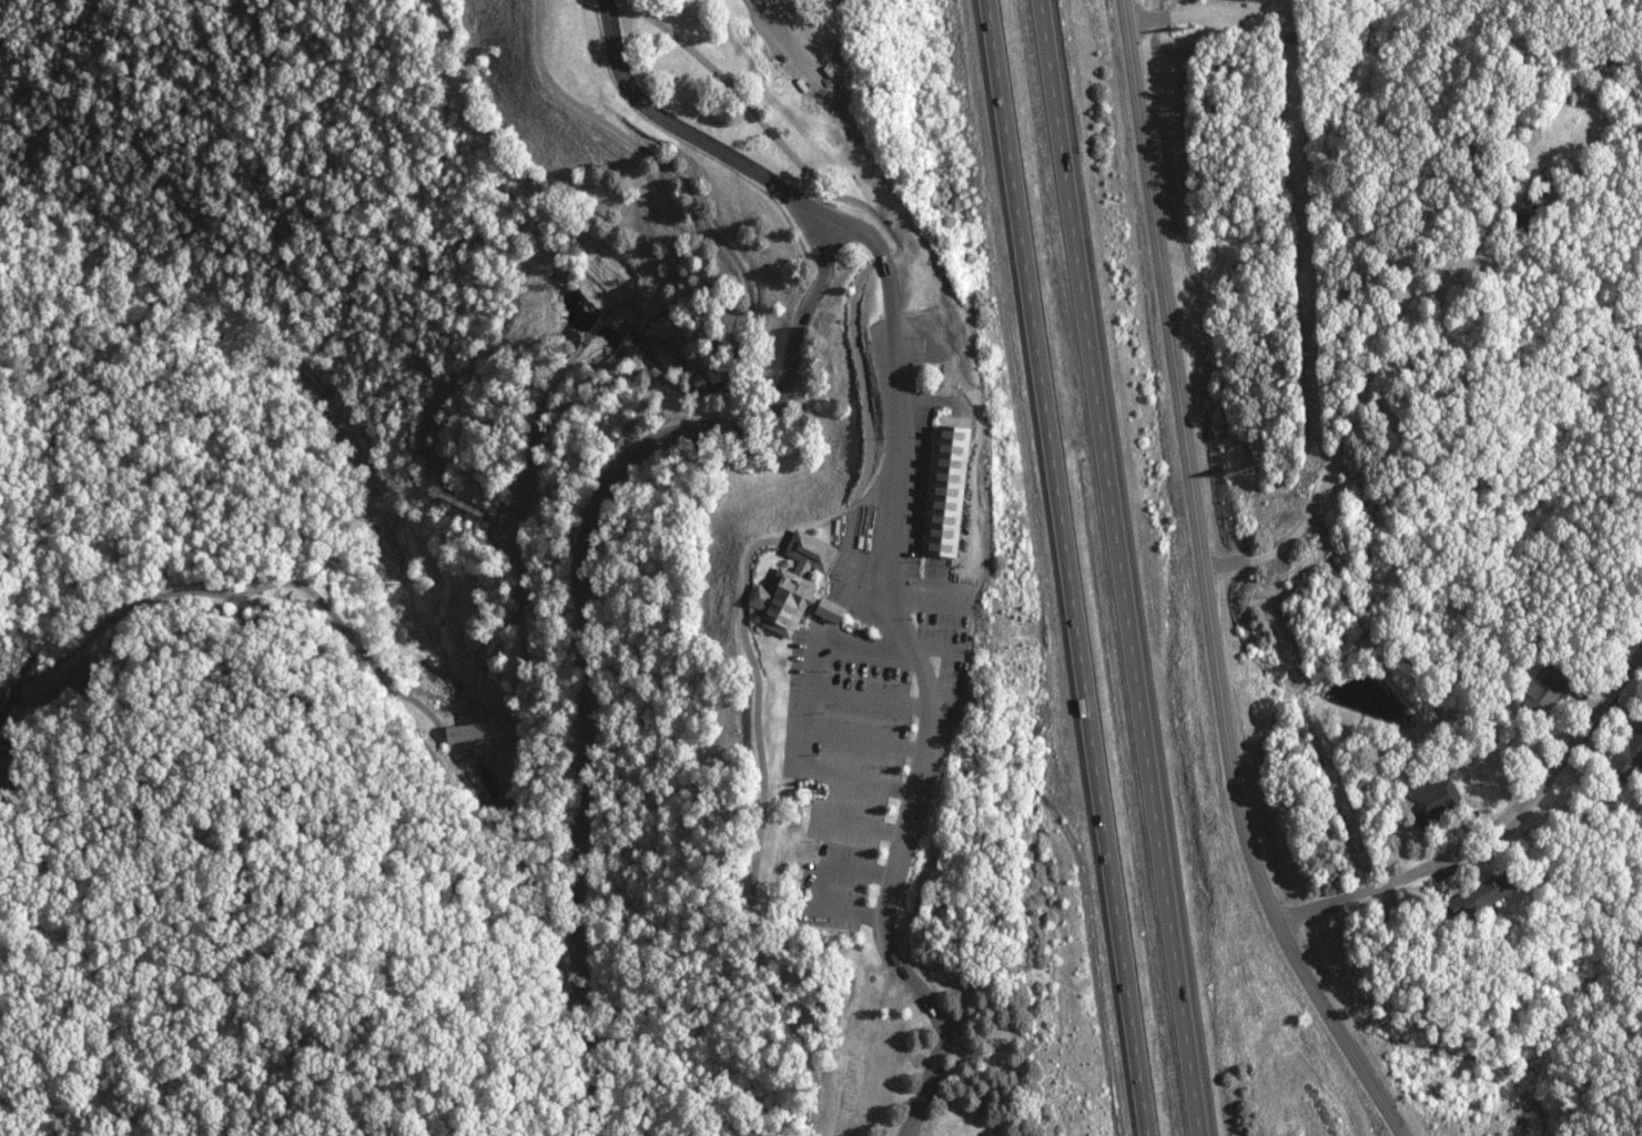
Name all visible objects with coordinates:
road: (1216, 11)
road: (1214, 20)
road: (779, 37)
road: (702, 226)
road: (889, 231)
road: (628, 303)
road: (599, 323)
road: (627, 337)
road: (1348, 417)
road: (614, 461)
road: (1190, 461)
road: (476, 508)
road: (514, 520)
road: (1067, 567)
road: (1115, 568)
building: (799, 587)
road: (242, 592)
road: (837, 596)
building: (950, 607)
road: (914, 671)
building: (1548, 688)
road: (805, 710)
road: (474, 730)
building: (478, 731)
building: (1632, 753)
road: (760, 797)
building: (1438, 800)
road: (1509, 831)
building: (1491, 893)
road: (1291, 912)
road: (1337, 1025)

